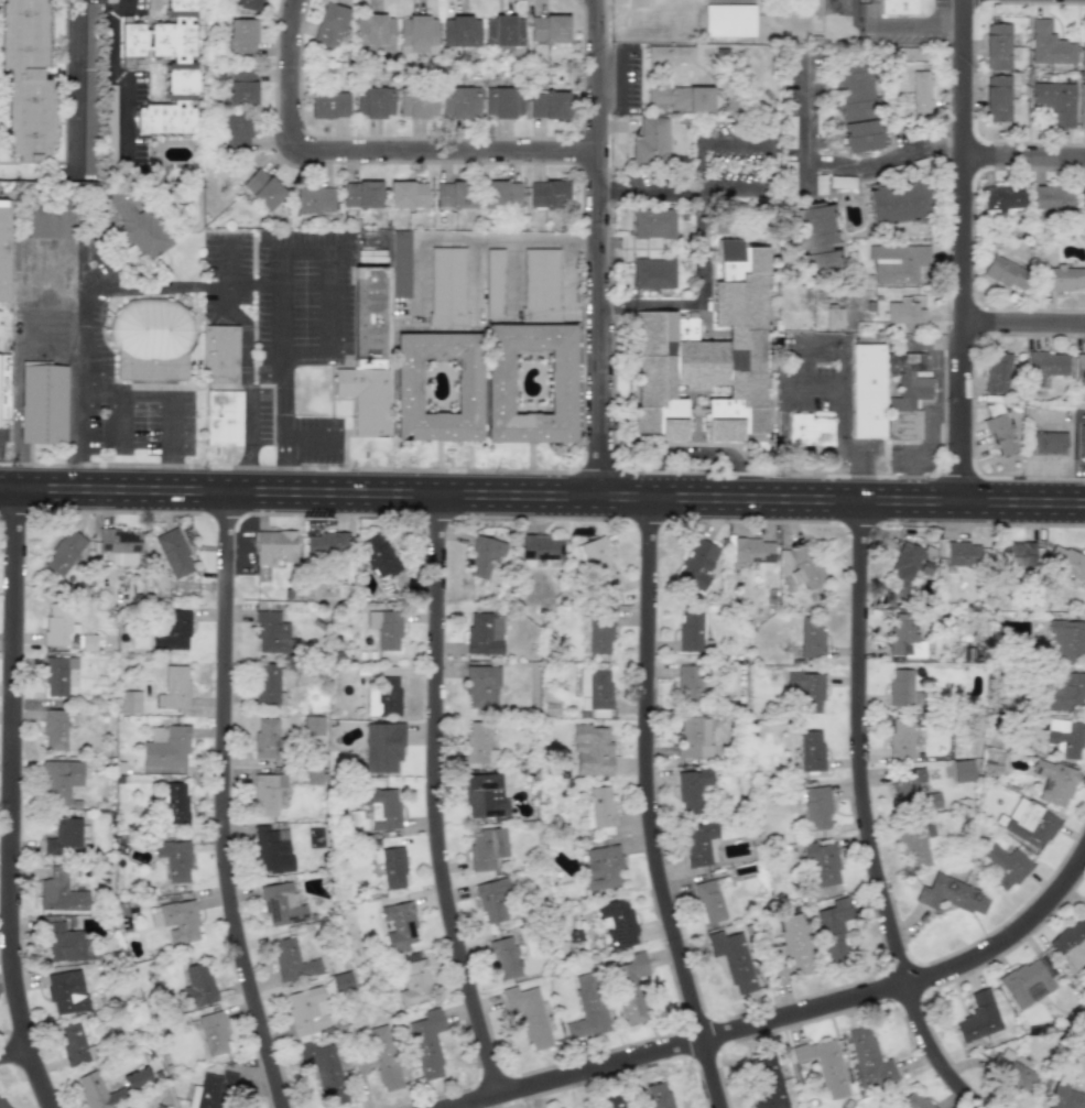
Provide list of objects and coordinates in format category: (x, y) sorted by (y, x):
building: (246, 4)
building: (896, 7)
park: (644, 19)
building: (728, 20)
building: (328, 25)
road: (916, 28)
building: (547, 29)
building: (502, 30)
building: (459, 31)
building: (373, 32)
building: (416, 34)
building: (241, 37)
building: (89, 43)
building: (1048, 44)
building: (997, 45)
building: (1082, 52)
building: (670, 54)
building: (165, 67)
building: (24, 80)
road: (122, 83)
road: (72, 84)
building: (241, 84)
building: (920, 90)
building: (674, 91)
building: (996, 98)
building: (373, 101)
building: (459, 101)
building: (502, 101)
building: (1055, 101)
building: (328, 104)
building: (416, 104)
building: (547, 105)
building: (1081, 106)
building: (857, 107)
building: (236, 130)
building: (650, 140)
road: (768, 144)
road: (1023, 155)
building: (87, 159)
road: (364, 162)
road: (836, 166)
building: (820, 183)
building: (262, 188)
building: (360, 194)
building: (406, 194)
building: (500, 194)
building: (547, 194)
building: (454, 195)
building: (1001, 197)
building: (1051, 197)
building: (313, 199)
building: (1082, 202)
building: (898, 203)
building: (135, 224)
building: (653, 224)
road: (466, 236)
building: (816, 237)
road: (702, 246)
road: (598, 248)
road: (959, 250)
building: (898, 262)
building: (400, 263)
road: (283, 265)
building: (3, 268)
building: (1003, 272)
building: (653, 273)
road: (475, 275)
building: (1063, 278)
building: (493, 282)
building: (541, 284)
building: (446, 285)
road: (129, 286)
building: (904, 312)
building: (834, 317)
road: (1022, 321)
road: (245, 338)
building: (151, 340)
building: (219, 352)
building: (366, 354)
building: (706, 354)
road: (843, 366)
building: (1043, 366)
building: (1079, 369)
building: (996, 372)
building: (501, 382)
building: (3, 387)
building: (411, 387)
building: (867, 391)
road: (130, 394)
building: (905, 395)
building: (43, 404)
road: (122, 414)
building: (223, 417)
building: (1001, 434)
road: (310, 436)
building: (1081, 439)
building: (1048, 443)
road: (82, 475)
road: (175, 477)
road: (248, 477)
road: (285, 478)
road: (542, 495)
building: (119, 540)
building: (327, 543)
building: (274, 545)
building: (541, 547)
building: (751, 550)
building: (64, 553)
building: (173, 553)
building: (962, 554)
building: (1019, 554)
building: (378, 555)
building: (482, 556)
building: (1065, 562)
building: (696, 564)
building: (908, 564)
building: (598, 565)
building: (804, 565)
building: (56, 623)
building: (386, 628)
building: (173, 631)
building: (270, 632)
building: (599, 632)
building: (482, 633)
building: (692, 633)
building: (903, 636)
building: (811, 637)
building: (1065, 641)
building: (87, 642)
building: (57, 674)
building: (479, 684)
building: (688, 684)
building: (265, 685)
building: (595, 686)
building: (173, 687)
building: (900, 687)
building: (806, 691)
building: (383, 692)
building: (1064, 692)
building: (130, 702)
building: (313, 725)
building: (54, 729)
building: (693, 737)
building: (1065, 737)
building: (265, 738)
building: (901, 738)
building: (478, 742)
building: (382, 746)
building: (165, 747)
building: (592, 750)
building: (811, 750)
building: (963, 770)
building: (58, 780)
building: (1053, 782)
building: (912, 787)
building: (691, 789)
building: (267, 793)
building: (485, 795)
road: (18, 800)
road: (441, 800)
building: (175, 803)
road: (228, 803)
road: (647, 806)
building: (381, 807)
building: (599, 807)
building: (815, 807)
road: (861, 816)
building: (1029, 823)
building: (63, 836)
building: (698, 843)
building: (914, 846)
building: (486, 847)
building: (271, 849)
building: (174, 859)
building: (820, 862)
building: (1003, 865)
building: (392, 867)
building: (601, 867)
building: (59, 892)
building: (951, 894)
building: (708, 900)
building: (492, 901)
building: (280, 904)
building: (1083, 909)
building: (177, 921)
building: (616, 922)
building: (399, 925)
building: (833, 927)
building: (62, 941)
building: (1071, 942)
building: (791, 948)
building: (504, 957)
building: (731, 959)
building: (291, 960)
building: (413, 979)
building: (341, 981)
building: (1026, 982)
building: (198, 985)
building: (630, 986)
building: (66, 991)
building: (587, 1007)
building: (306, 1010)
building: (528, 1015)
road: (800, 1015)
building: (977, 1017)
building: (213, 1033)
building: (426, 1043)
building: (72, 1044)
building: (383, 1057)
road: (18, 1058)
building: (868, 1058)
building: (824, 1065)
building: (323, 1069)
building: (1011, 1071)
building: (768, 1082)
building: (90, 1089)
building: (208, 1091)
building: (1064, 1095)
building: (658, 1096)
building: (913, 1100)
building: (611, 1101)
building: (2, 1105)
building: (122, 1107)
building: (158, 1107)
building: (561, 1107)

